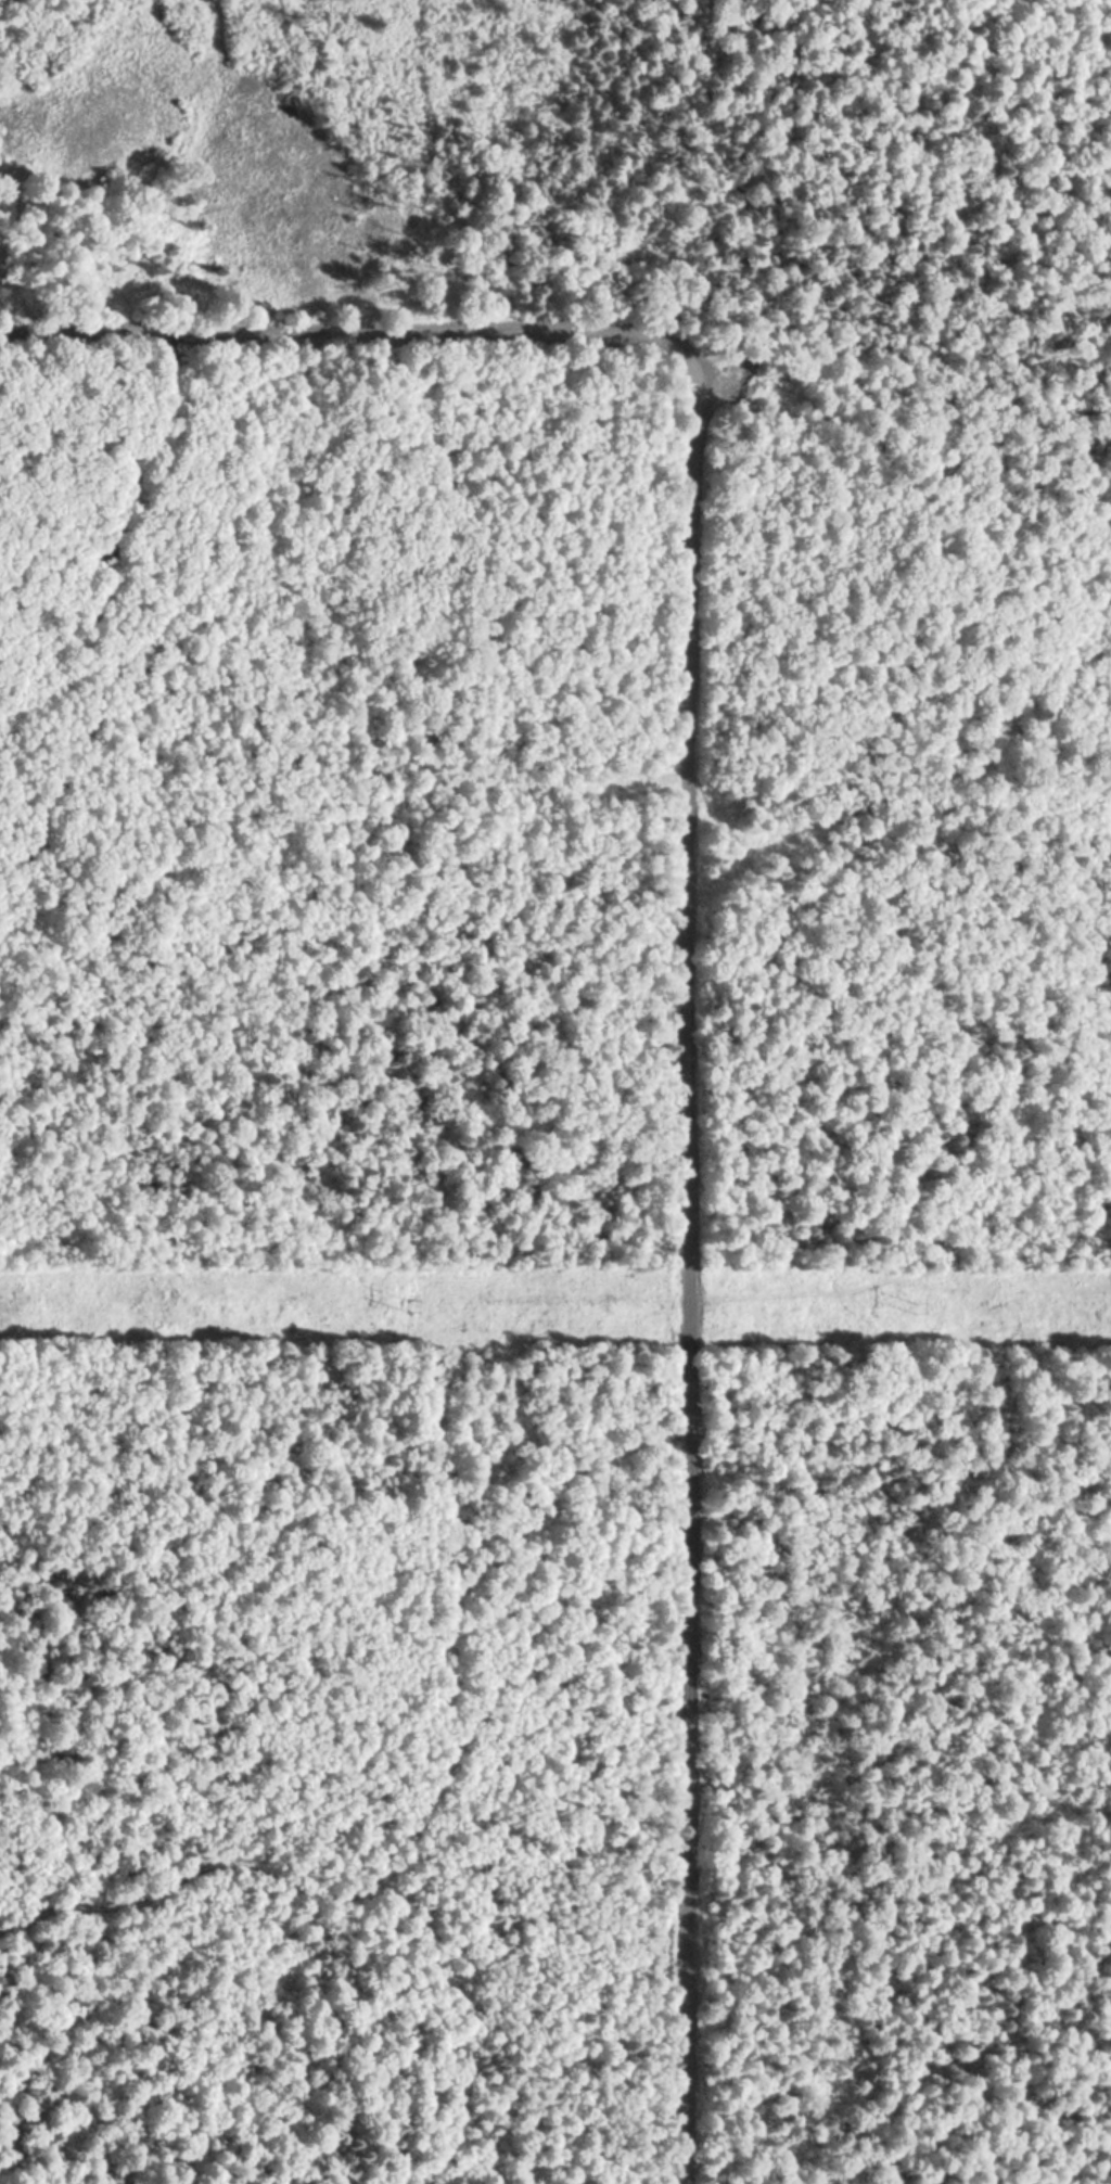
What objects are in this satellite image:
road: (687, 919)
power tower: (395, 1304)
power tower: (910, 1310)

